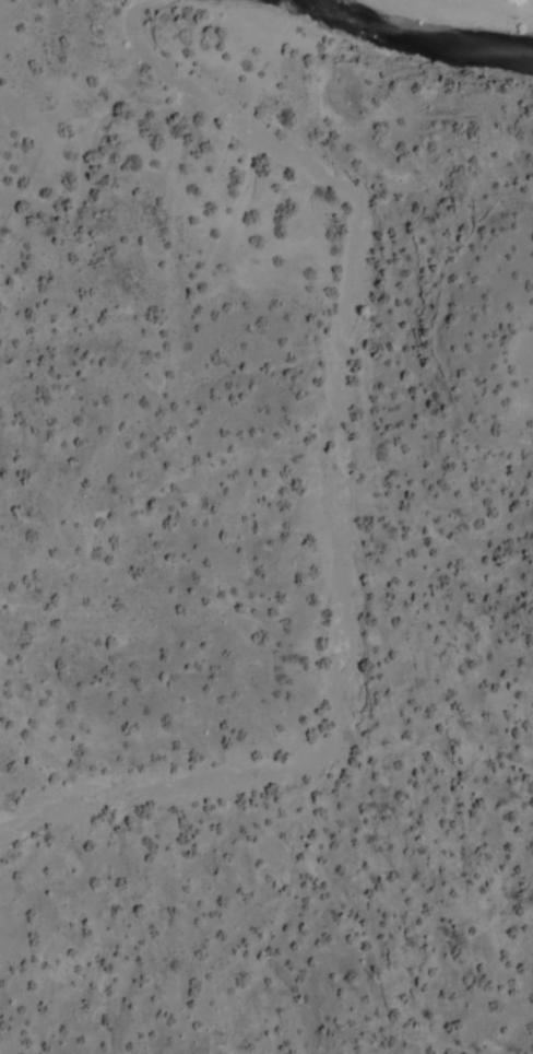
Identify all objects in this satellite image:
river: (434, 36)

